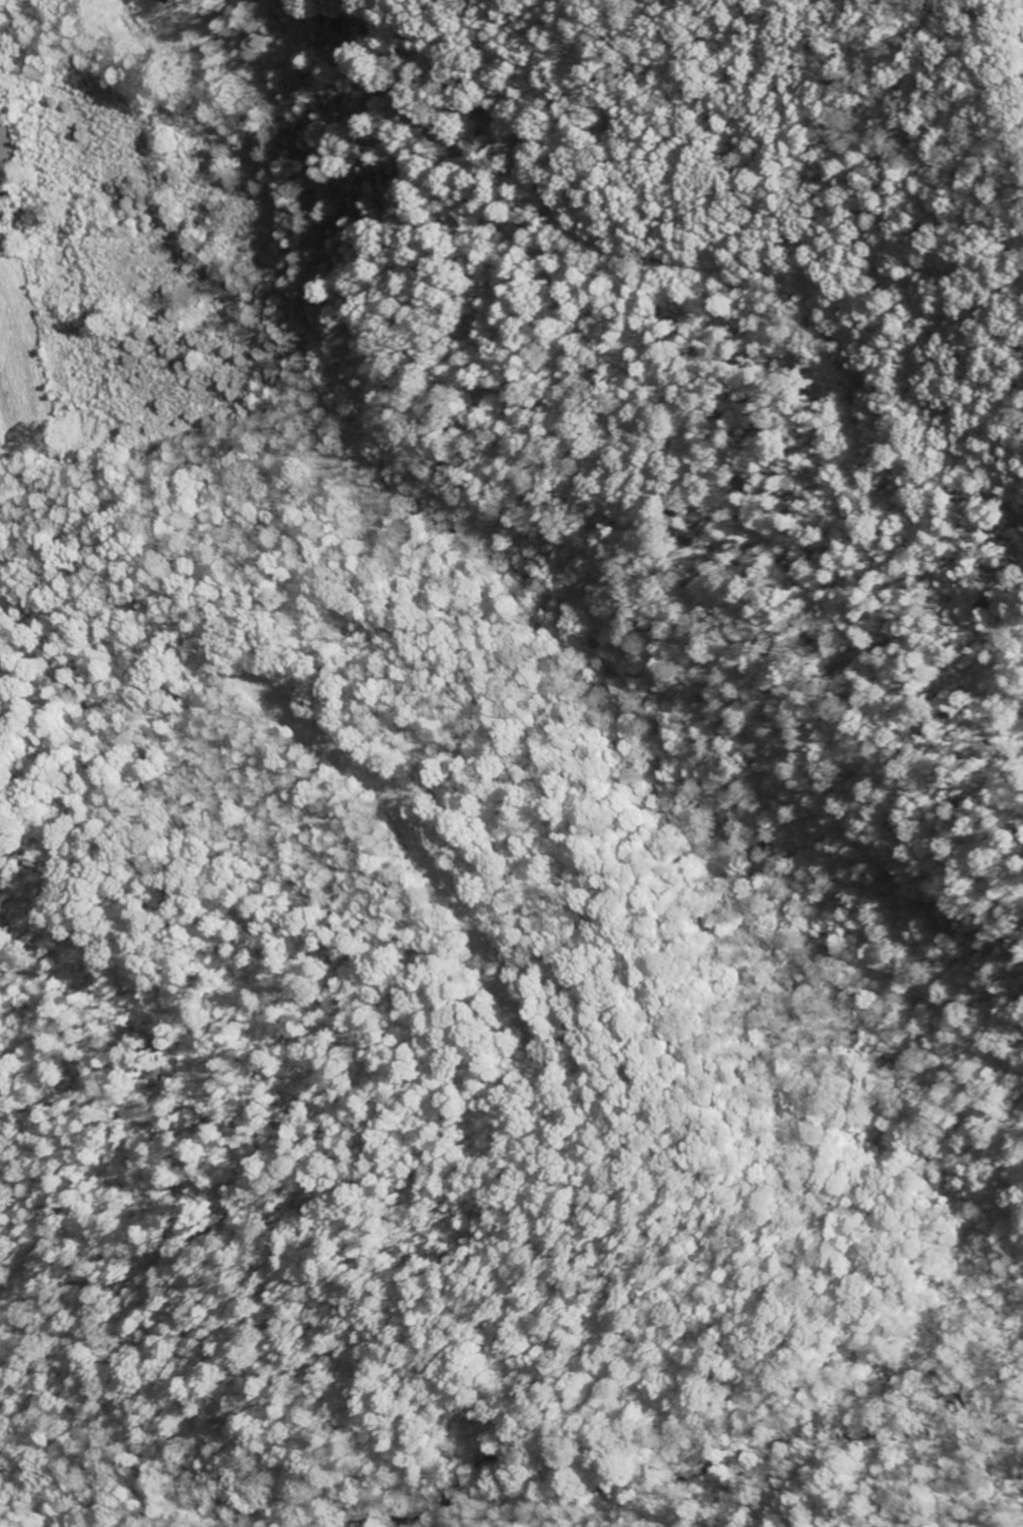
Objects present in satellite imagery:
road: (669, 261)

